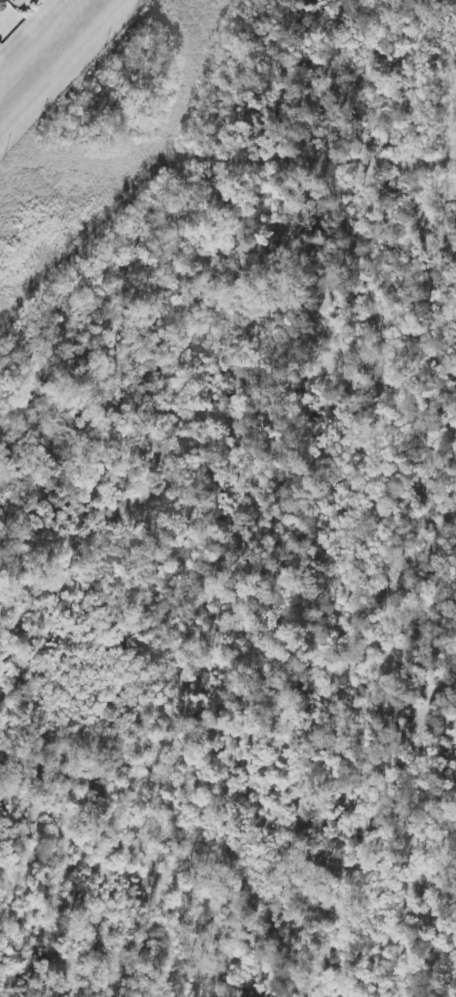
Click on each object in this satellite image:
building: (10, 1)
building: (2, 6)

